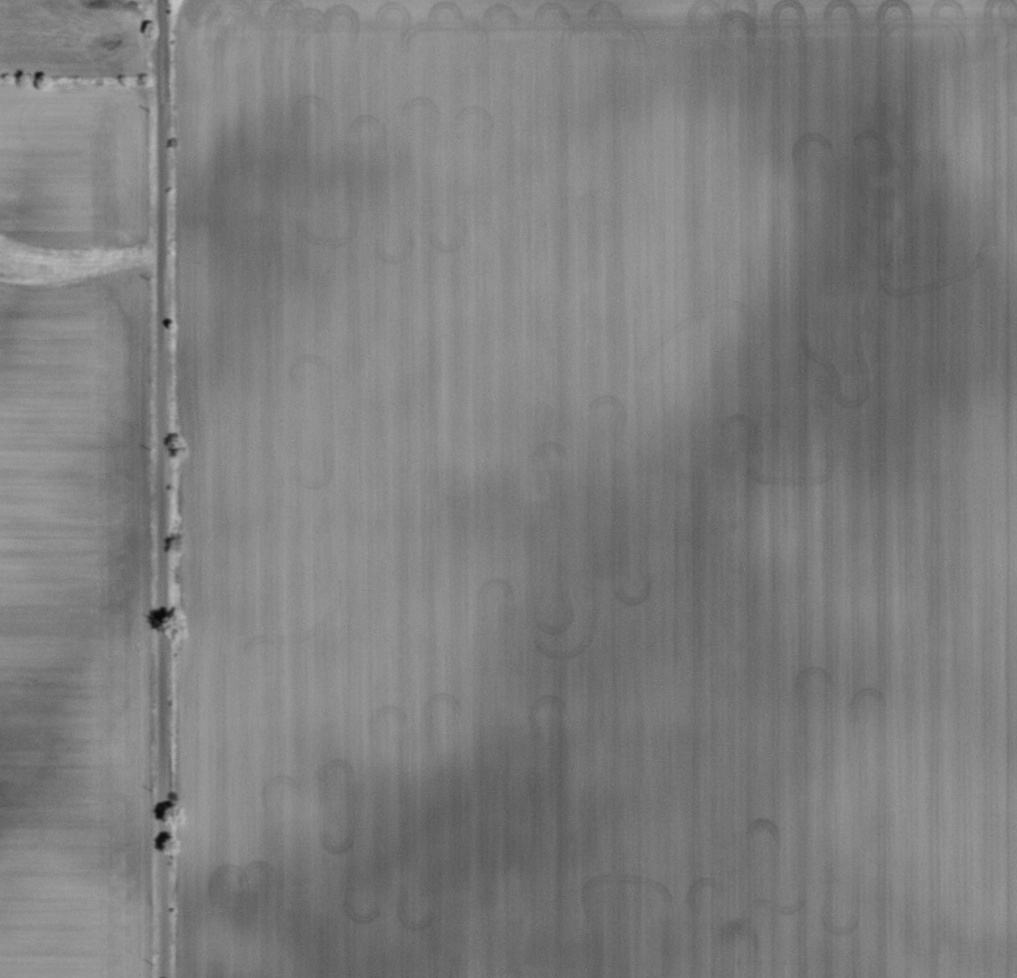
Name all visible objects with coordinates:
road: (153, 489)

